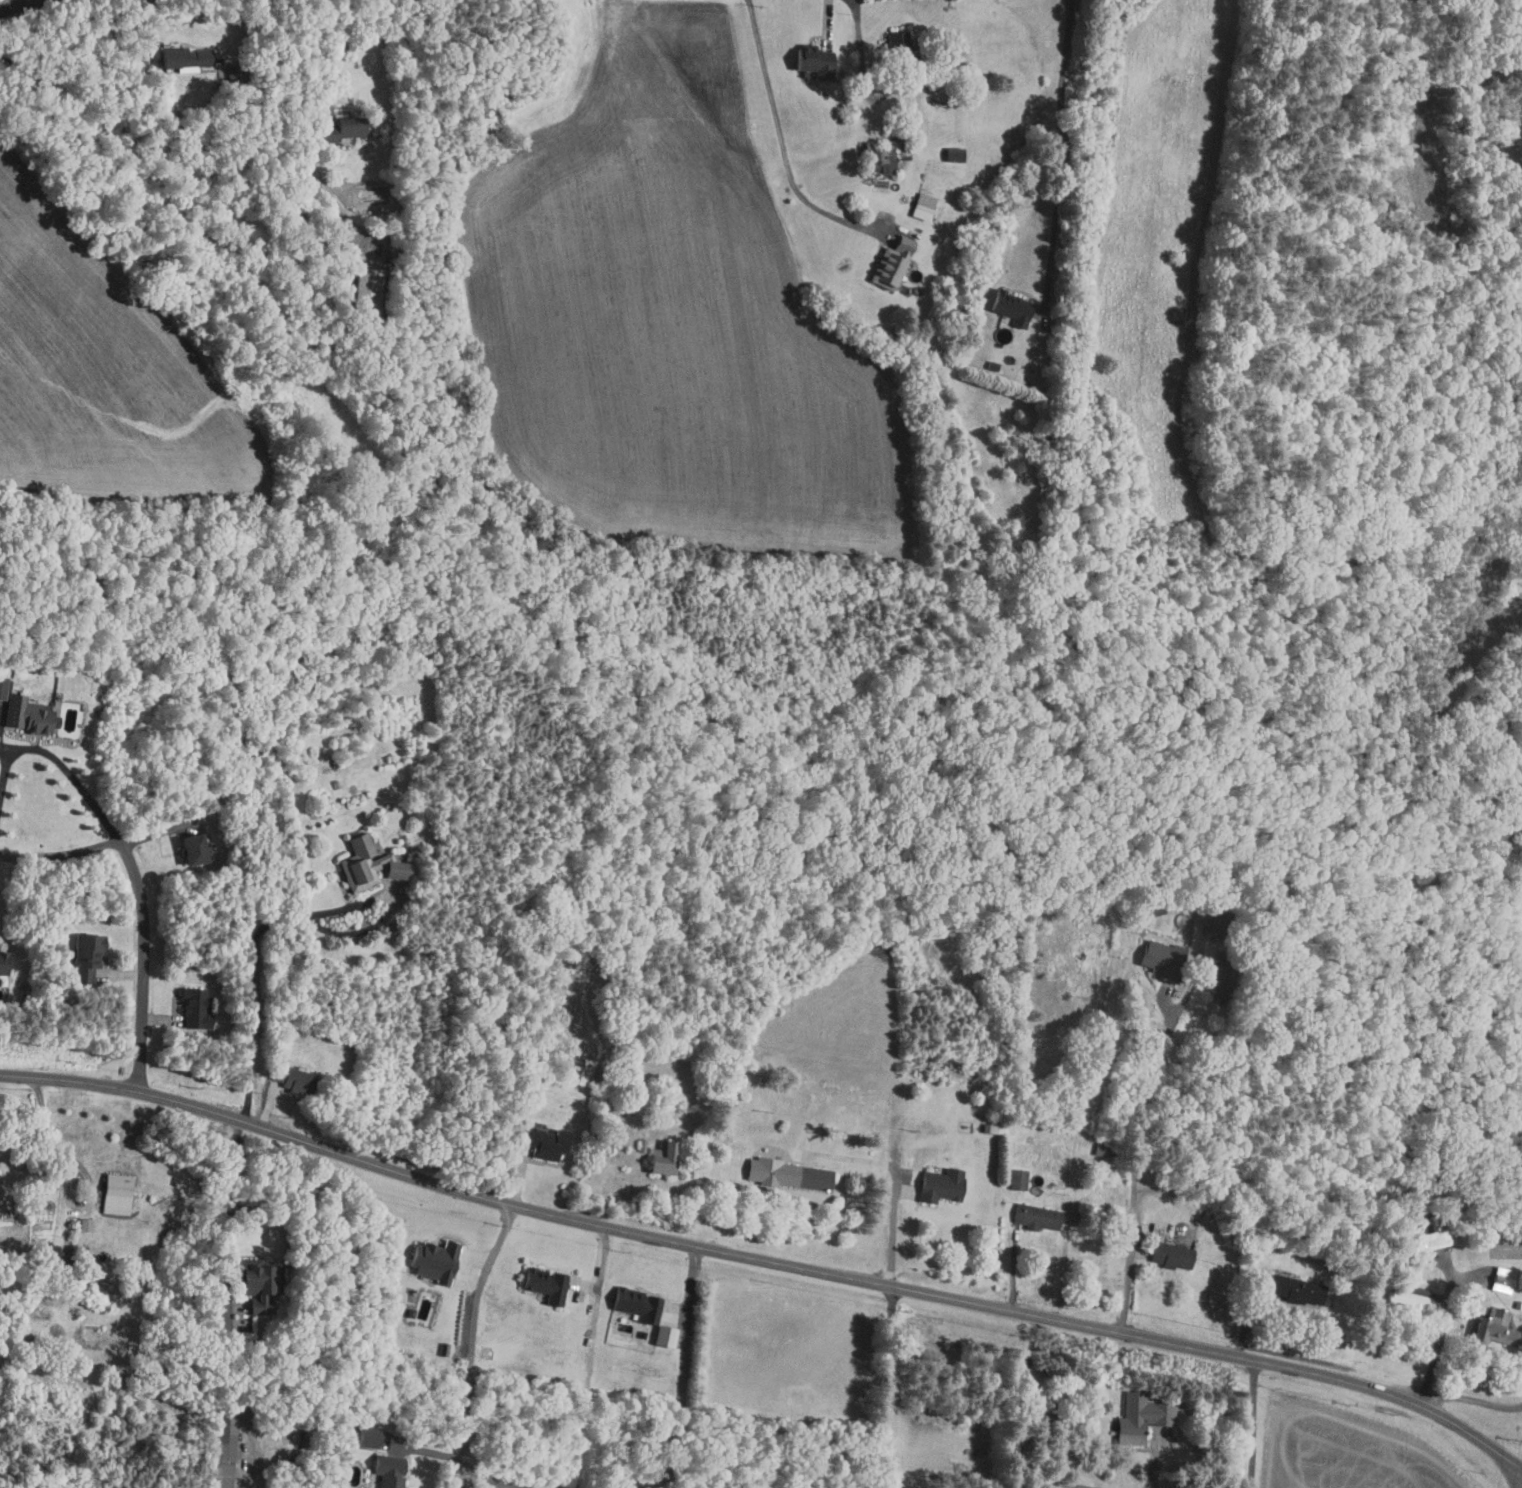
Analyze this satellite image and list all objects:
road: (19, 5)
building: (896, 44)
road: (333, 54)
building: (182, 58)
building: (811, 61)
road: (780, 131)
building: (337, 133)
building: (886, 154)
building: (951, 154)
road: (1059, 156)
building: (921, 206)
building: (887, 262)
building: (363, 291)
building: (1009, 307)
building: (3, 687)
building: (27, 715)
road: (60, 763)
building: (188, 849)
road: (62, 855)
building: (382, 860)
building: (357, 864)
building: (395, 870)
road: (280, 918)
building: (84, 958)
building: (1159, 959)
road: (142, 967)
building: (1215, 981)
building: (191, 1006)
building: (577, 1071)
building: (290, 1079)
road: (1139, 1124)
road: (53, 1143)
building: (542, 1143)
building: (659, 1159)
building: (785, 1175)
building: (1016, 1180)
building: (938, 1186)
building: (114, 1194)
road: (728, 1206)
building: (1035, 1216)
building: (1430, 1238)
road: (891, 1239)
building: (1169, 1256)
building: (432, 1262)
road: (765, 1263)
building: (1501, 1280)
building: (542, 1285)
building: (256, 1287)
building: (1294, 1291)
building: (1408, 1298)
road: (226, 1305)
building: (635, 1305)
building: (1490, 1329)
road: (1441, 1335)
road: (473, 1343)
road: (683, 1376)
road: (887, 1388)
road: (1474, 1399)
building: (1139, 1418)
road: (1017, 1424)
road: (1254, 1425)
building: (365, 1436)
building: (224, 1452)
building: (387, 1470)
road: (1153, 1477)

